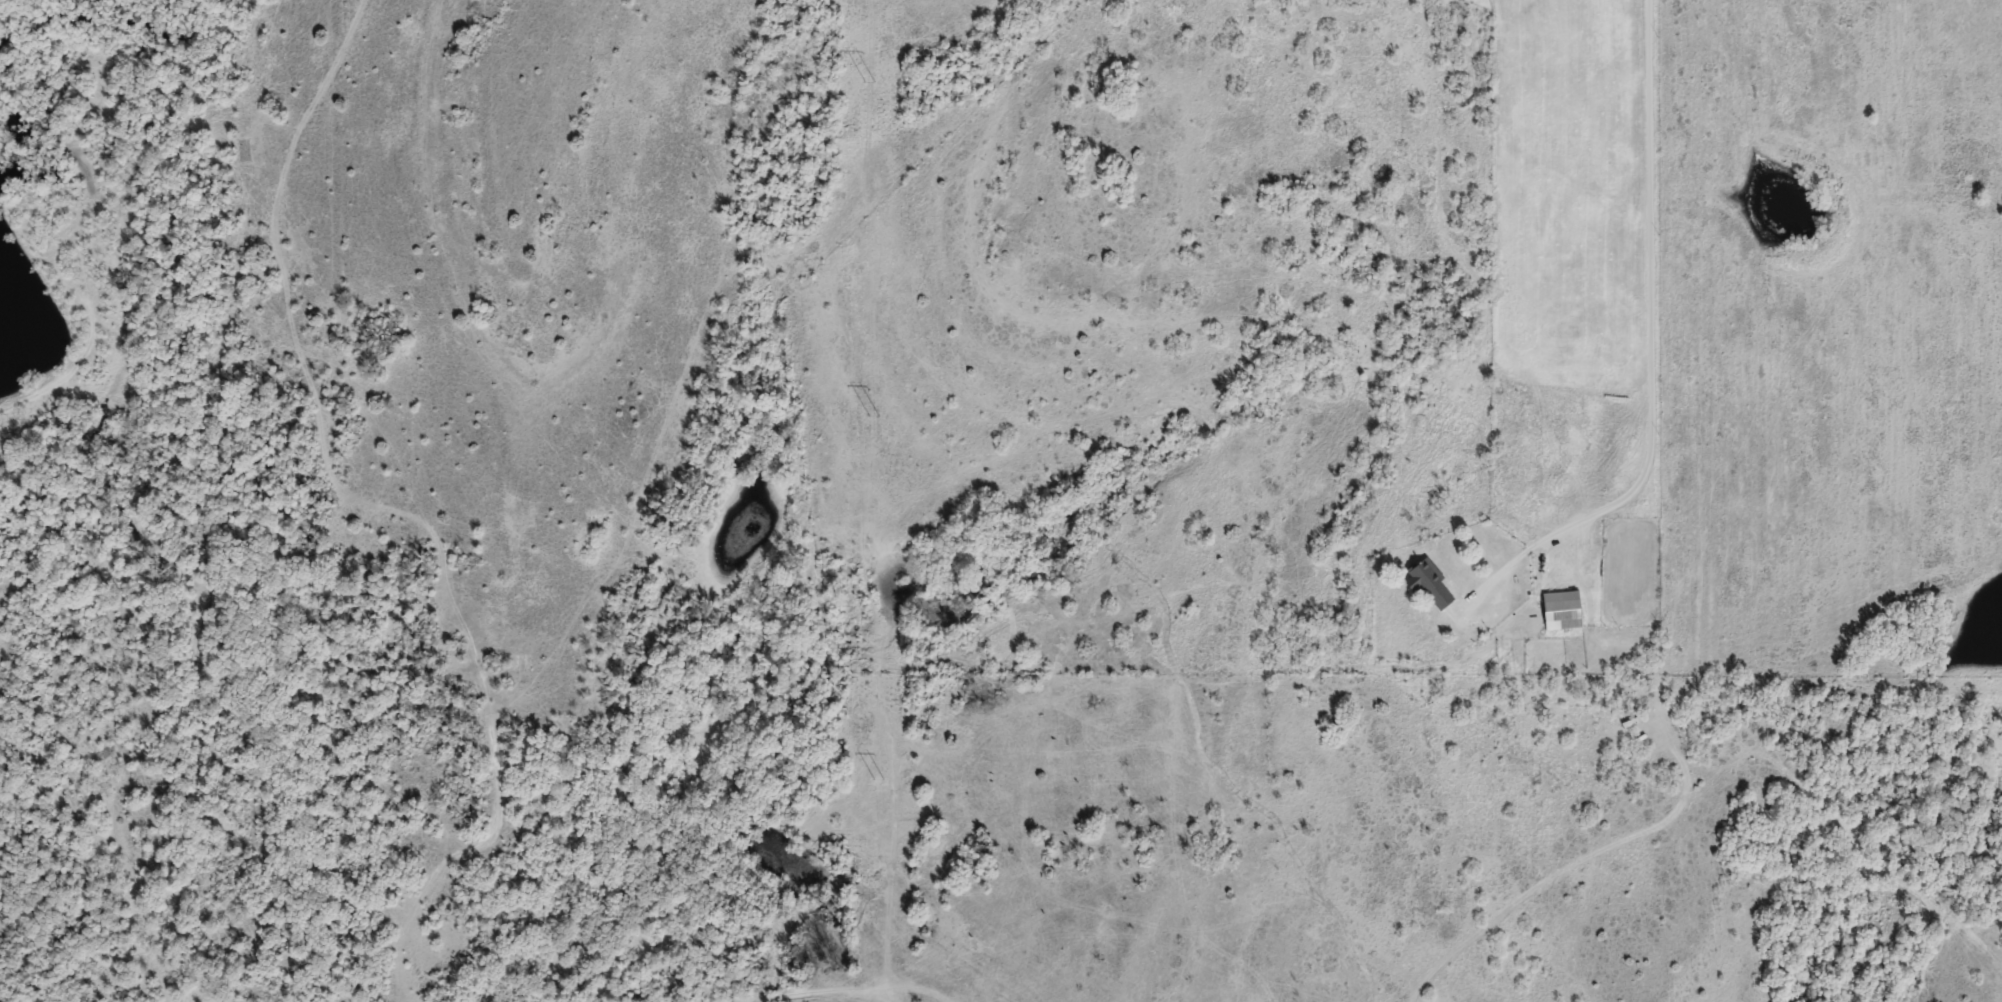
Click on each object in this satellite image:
power tower: (874, 104)
road: (1648, 304)
road: (49, 375)
power tower: (879, 445)
building: (1431, 586)
building: (1562, 611)
power tower: (883, 800)
road: (888, 904)
road: (855, 994)

